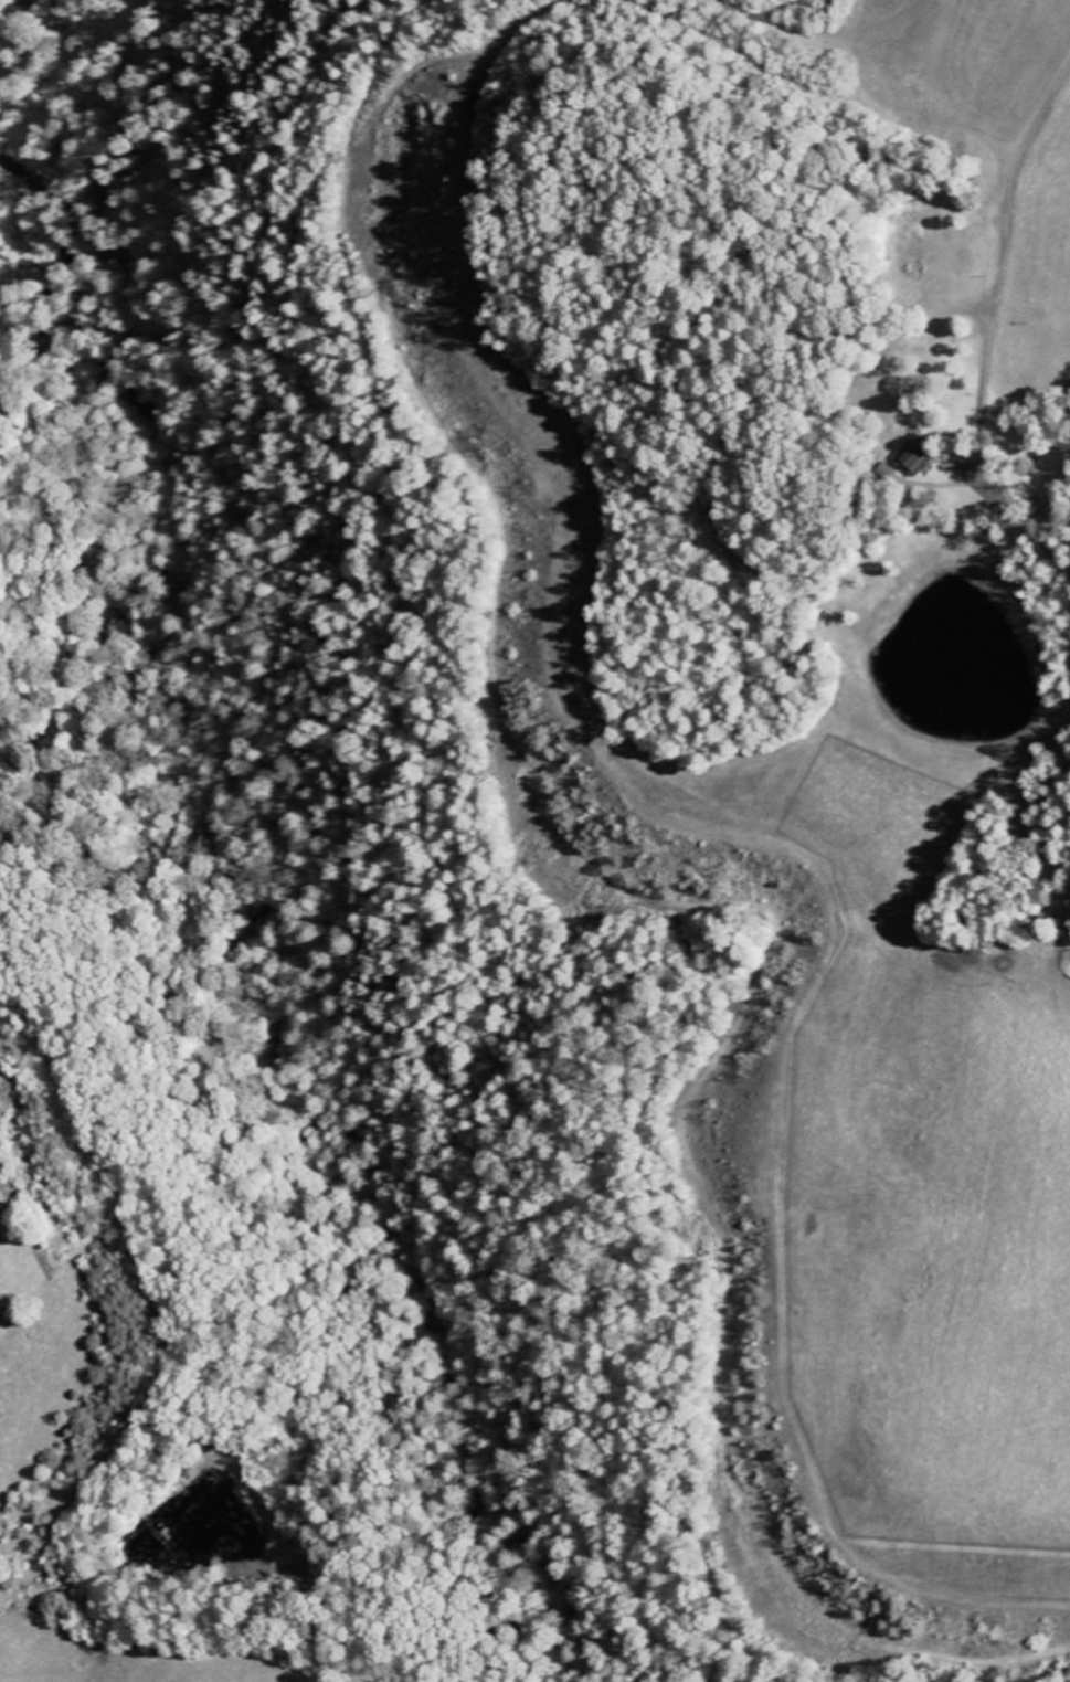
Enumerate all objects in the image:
building: (912, 457)
road: (1019, 527)

